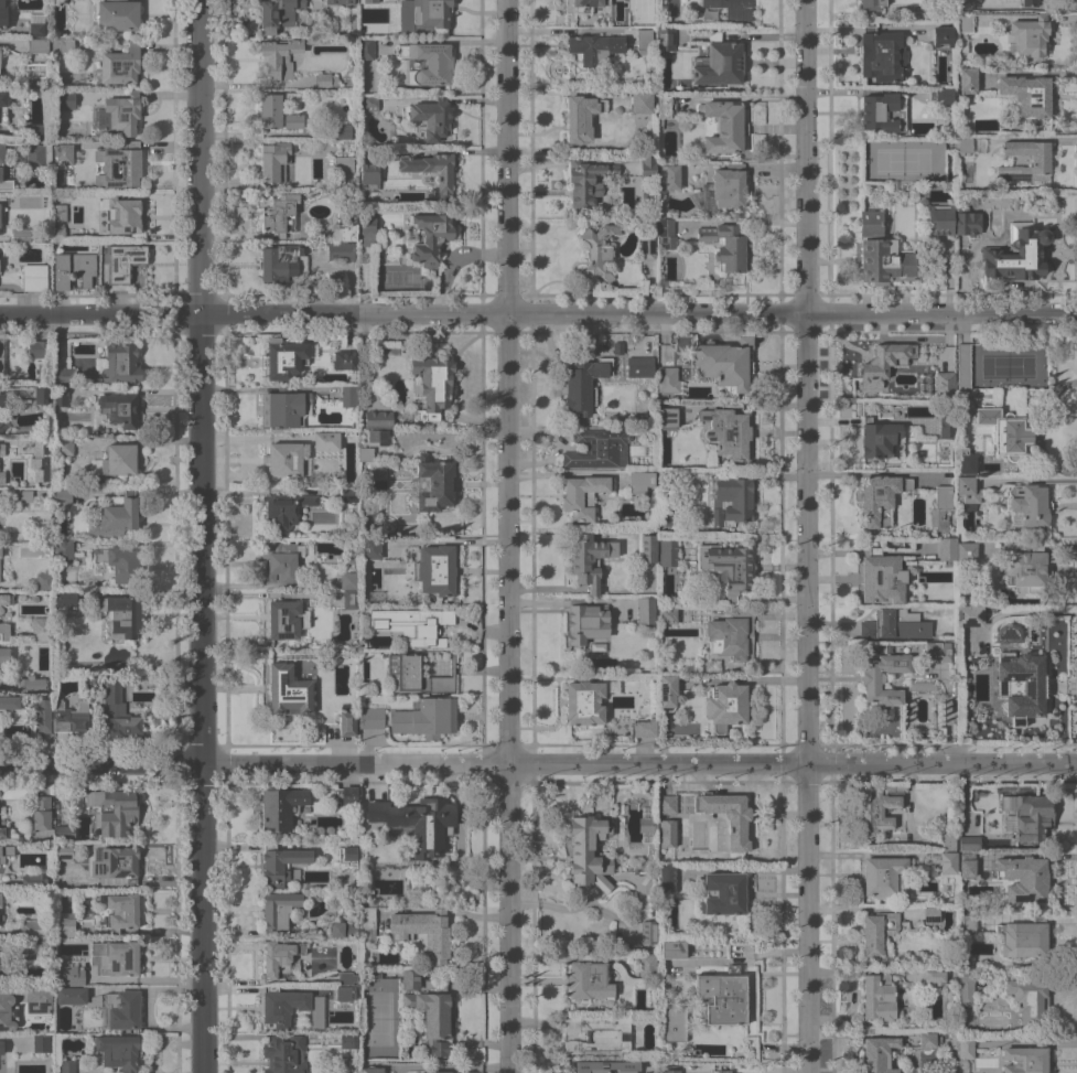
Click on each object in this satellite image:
building: (340, 1)
building: (370, 1)
building: (1030, 2)
building: (726, 3)
building: (870, 3)
building: (586, 4)
building: (278, 13)
building: (2, 15)
building: (116, 15)
building: (423, 15)
building: (966, 22)
building: (35, 24)
road: (563, 30)
building: (946, 30)
building: (1027, 35)
building: (666, 37)
building: (644, 41)
building: (63, 44)
building: (37, 45)
building: (962, 46)
building: (366, 49)
building: (593, 49)
building: (880, 55)
building: (279, 57)
building: (720, 62)
building: (429, 63)
building: (119, 65)
building: (326, 79)
building: (968, 79)
building: (1027, 94)
building: (941, 95)
building: (64, 99)
building: (642, 100)
building: (368, 103)
building: (3, 105)
building: (666, 108)
building: (279, 109)
building: (884, 111)
building: (120, 112)
building: (433, 117)
building: (581, 117)
building: (724, 126)
building: (341, 130)
building: (36, 131)
building: (963, 143)
building: (62, 153)
building: (39, 154)
building: (1040, 160)
building: (273, 161)
building: (344, 163)
building: (119, 164)
building: (647, 165)
building: (1, 170)
building: (433, 170)
building: (369, 175)
building: (669, 175)
building: (586, 180)
building: (724, 189)
building: (649, 193)
building: (0, 214)
building: (123, 215)
building: (281, 215)
building: (940, 219)
building: (967, 221)
building: (57, 226)
building: (367, 227)
building: (346, 232)
building: (666, 233)
building: (23, 234)
building: (268, 235)
building: (431, 237)
building: (647, 246)
building: (725, 246)
building: (599, 249)
building: (341, 250)
building: (881, 253)
building: (1017, 253)
building: (123, 262)
building: (279, 262)
building: (941, 265)
building: (74, 268)
building: (34, 277)
road: (538, 313)
building: (617, 347)
building: (41, 348)
building: (1, 357)
building: (284, 357)
building: (344, 360)
building: (884, 362)
building: (121, 363)
building: (725, 363)
building: (639, 366)
building: (963, 366)
building: (45, 375)
building: (63, 375)
building: (668, 379)
building: (431, 383)
building: (945, 384)
building: (583, 386)
building: (42, 395)
building: (31, 396)
building: (61, 396)
building: (348, 396)
building: (2, 399)
building: (119, 408)
building: (284, 408)
building: (668, 417)
building: (378, 419)
building: (0, 422)
building: (947, 423)
building: (1003, 430)
building: (725, 433)
building: (378, 437)
building: (880, 439)
building: (327, 440)
building: (64, 447)
building: (1, 448)
building: (597, 448)
building: (365, 453)
building: (42, 459)
building: (286, 459)
building: (117, 460)
building: (967, 461)
building: (2, 478)
building: (648, 480)
building: (367, 483)
building: (433, 483)
building: (967, 490)
building: (349, 494)
building: (23, 495)
building: (583, 495)
building: (62, 496)
building: (881, 497)
building: (731, 502)
building: (1028, 505)
building: (286, 508)
building: (940, 508)
building: (116, 515)
building: (669, 517)
road: (200, 536)
road: (507, 536)
road: (806, 536)
building: (370, 548)
building: (648, 548)
building: (64, 550)
building: (0, 551)
building: (967, 551)
building: (669, 552)
building: (938, 555)
building: (351, 557)
building: (589, 558)
building: (280, 560)
building: (119, 562)
building: (728, 567)
building: (1028, 567)
building: (435, 569)
building: (881, 578)
building: (43, 580)
building: (348, 580)
building: (65, 598)
building: (351, 598)
building: (6, 599)
building: (646, 609)
building: (122, 613)
building: (667, 614)
building: (970, 615)
building: (287, 619)
building: (586, 621)
building: (413, 624)
building: (894, 624)
building: (41, 629)
building: (4, 632)
building: (732, 635)
building: (937, 651)
building: (4, 654)
building: (416, 674)
building: (883, 676)
building: (33, 683)
building: (1022, 685)
building: (289, 690)
building: (668, 691)
building: (9, 701)
building: (584, 702)
building: (726, 704)
building: (114, 706)
building: (43, 715)
building: (71, 716)
building: (371, 717)
building: (426, 717)
building: (347, 722)
building: (1, 728)
building: (645, 728)
road: (402, 761)
road: (941, 761)
building: (347, 796)
building: (667, 804)
building: (281, 807)
building: (881, 808)
building: (115, 809)
building: (42, 812)
building: (1028, 815)
building: (726, 818)
building: (418, 822)
building: (648, 824)
building: (64, 831)
building: (3, 833)
building: (668, 833)
building: (948, 841)
building: (969, 843)
building: (64, 851)
building: (589, 851)
building: (6, 852)
building: (347, 854)
building: (948, 862)
building: (282, 865)
building: (967, 867)
building: (115, 868)
building: (882, 875)
building: (667, 876)
building: (1023, 878)
building: (34, 880)
building: (722, 893)
building: (0, 899)
building: (120, 910)
building: (278, 910)
building: (931, 912)
building: (367, 922)
building: (968, 925)
building: (65, 926)
building: (35, 929)
building: (342, 929)
building: (648, 931)
building: (879, 933)
building: (437, 936)
building: (1024, 936)
building: (47, 942)
building: (32, 945)
building: (674, 948)
building: (117, 956)
building: (280, 956)
building: (971, 963)
building: (647, 966)
building: (0, 968)
building: (371, 973)
building: (68, 976)
building: (936, 976)
building: (348, 977)
road: (130, 979)
building: (411, 979)
building: (589, 979)
building: (348, 991)
building: (966, 991)
building: (76, 996)
building: (724, 996)
building: (880, 997)
building: (40, 999)
building: (1028, 999)
building: (282, 1007)
building: (121, 1009)
building: (8, 1010)
building: (431, 1018)
building: (675, 1023)
building: (597, 1034)
building: (351, 1040)
building: (929, 1040)
building: (41, 1042)
building: (954, 1043)
building: (966, 1047)
building: (1, 1048)
building: (119, 1050)
building: (284, 1054)
building: (880, 1054)
building: (1025, 1058)
building: (67, 1065)
building: (606, 1066)
building: (670, 1069)
building: (371, 1070)
building: (438, 1072)

